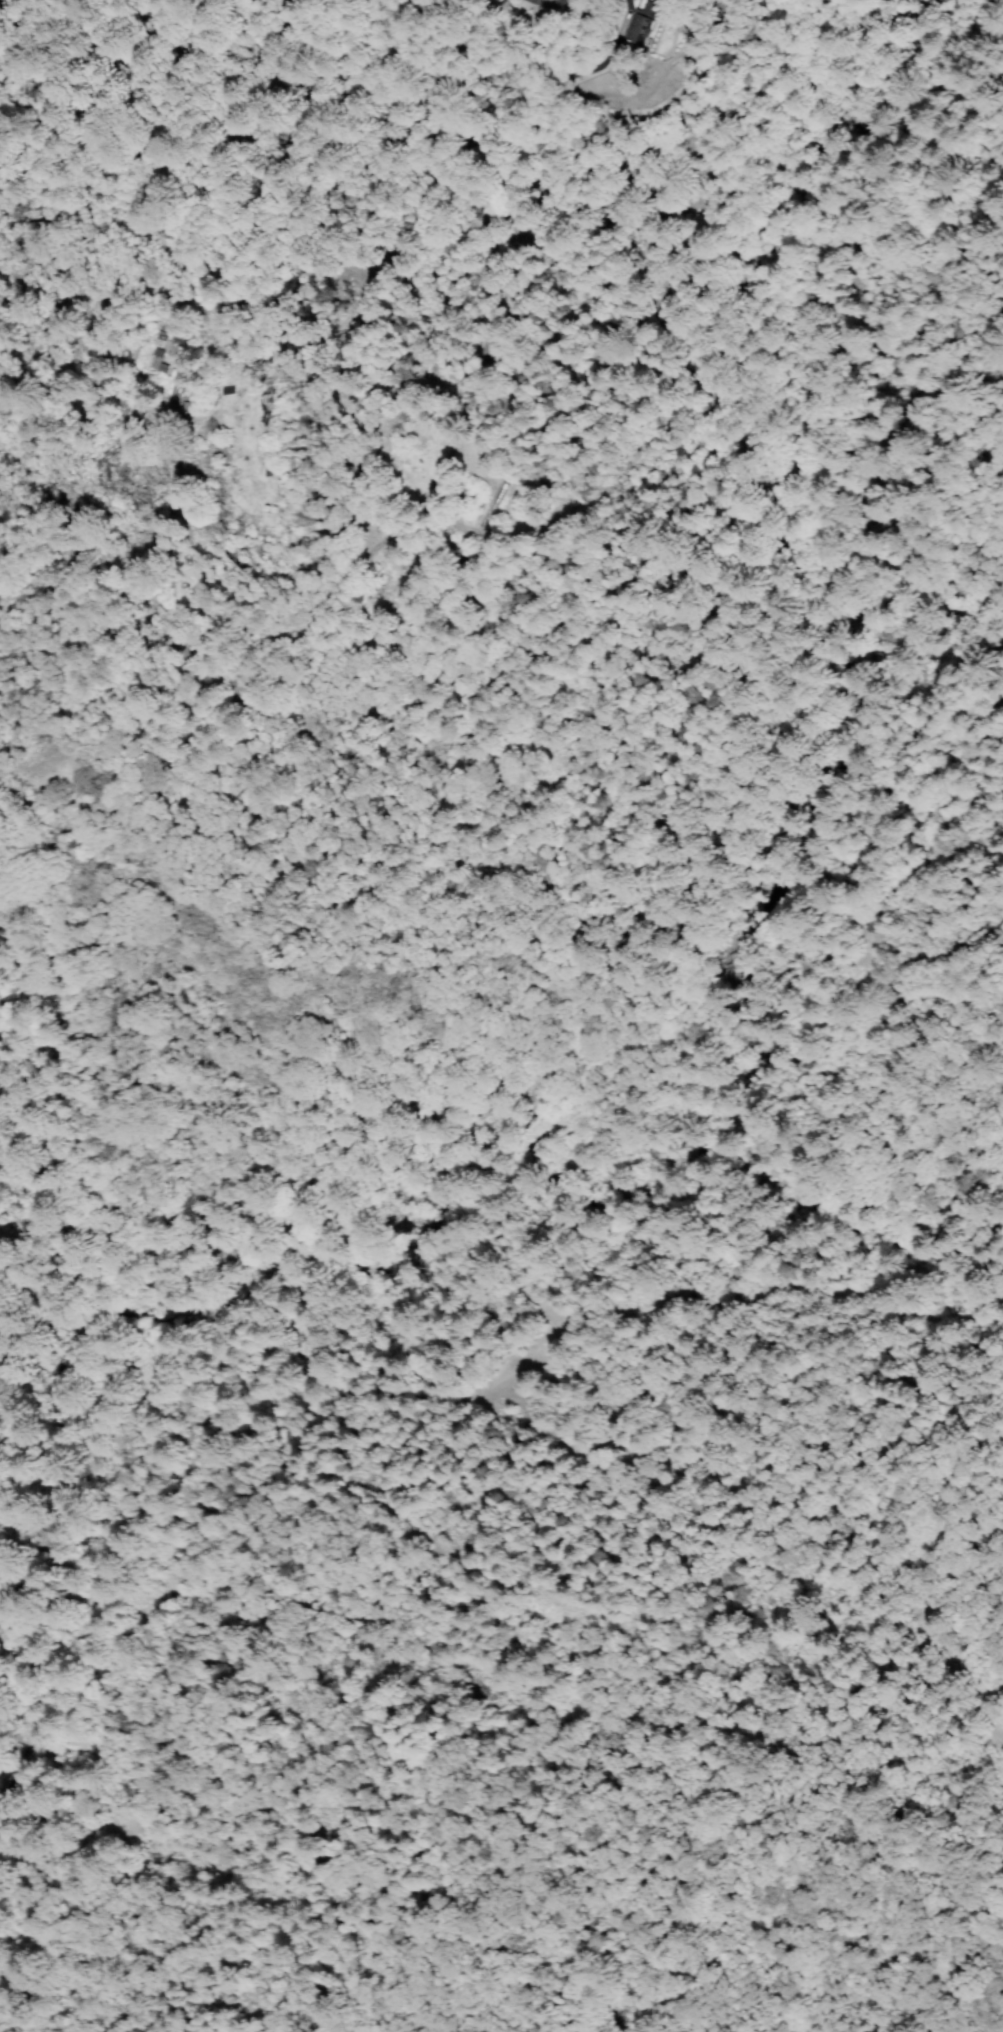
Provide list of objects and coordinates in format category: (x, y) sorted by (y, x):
building: (643, 22)
building: (147, 342)
road: (626, 1309)
road: (491, 1413)
road: (1002, 1738)

